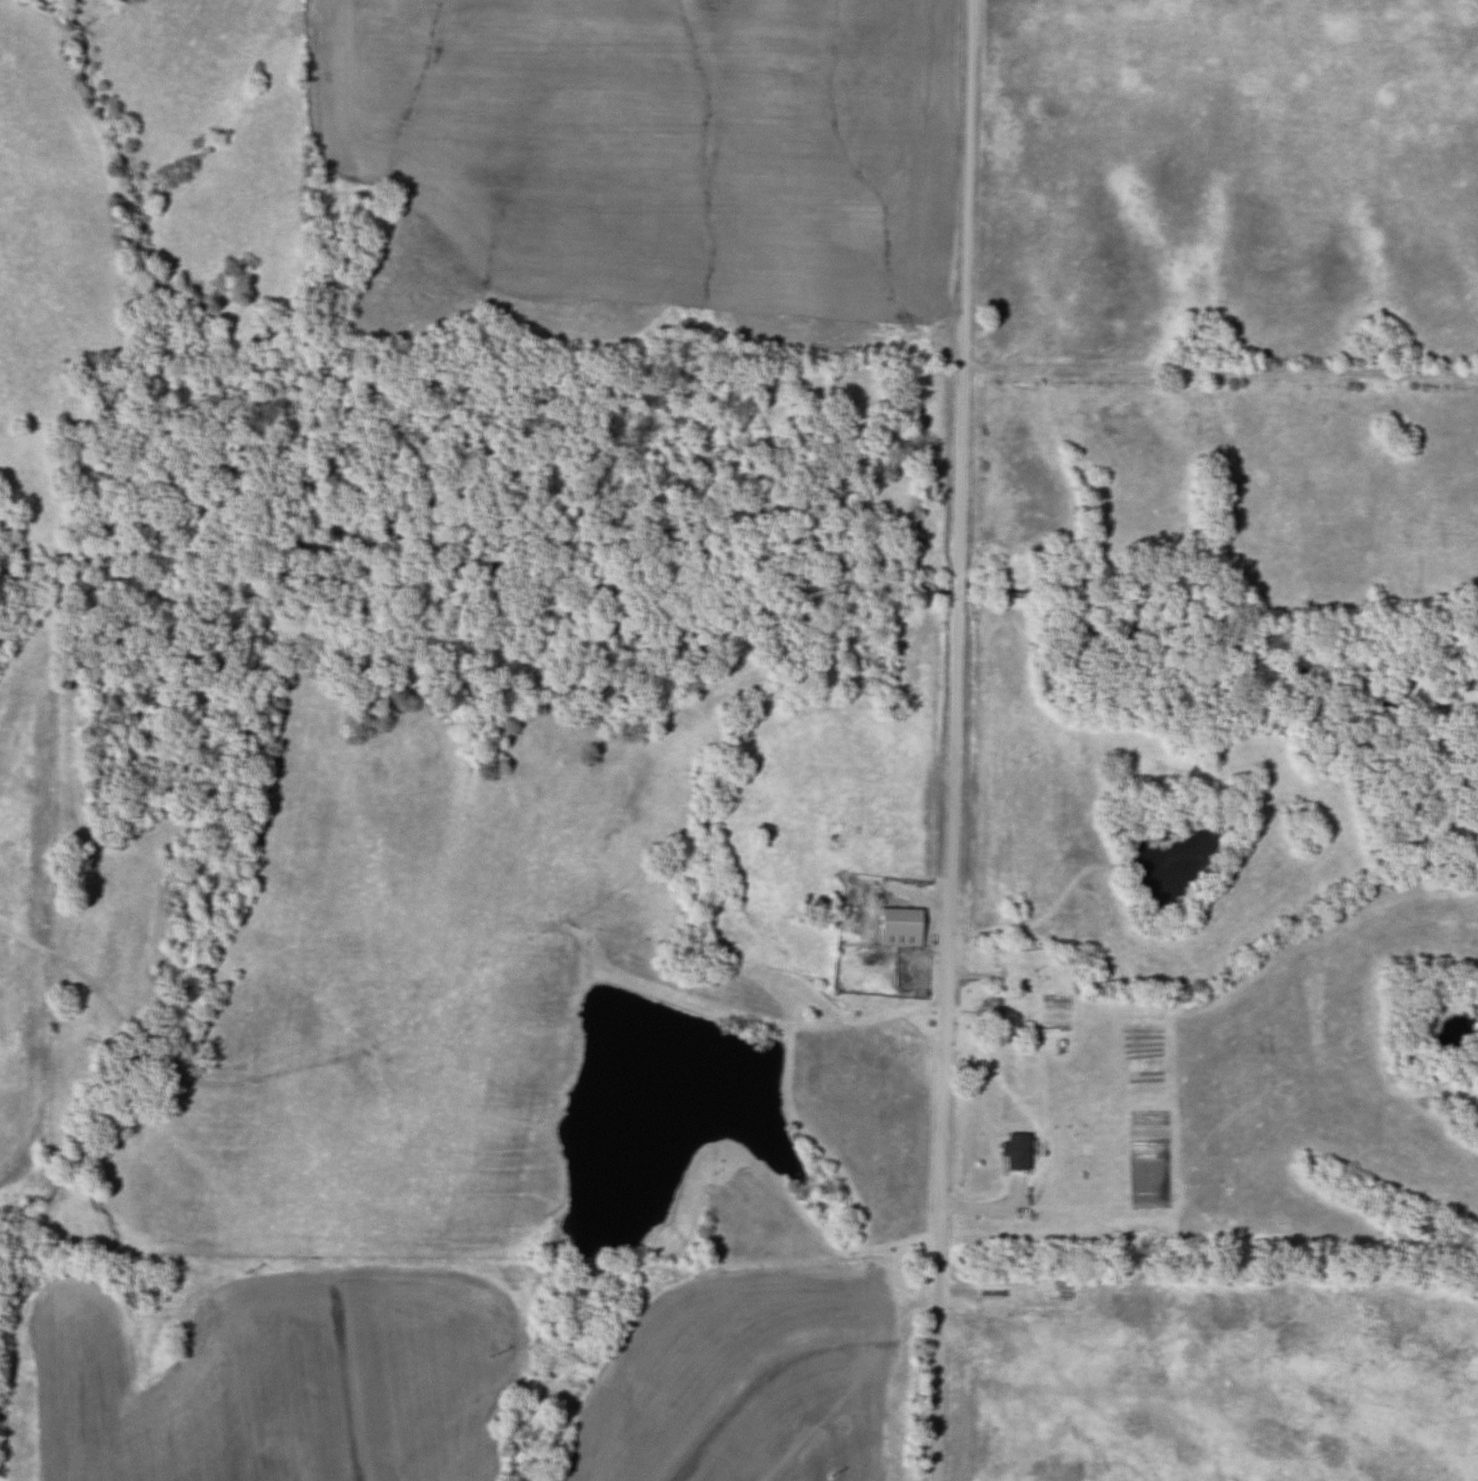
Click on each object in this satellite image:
road: (956, 740)
building: (900, 926)
building: (990, 1011)
building: (1017, 1151)

